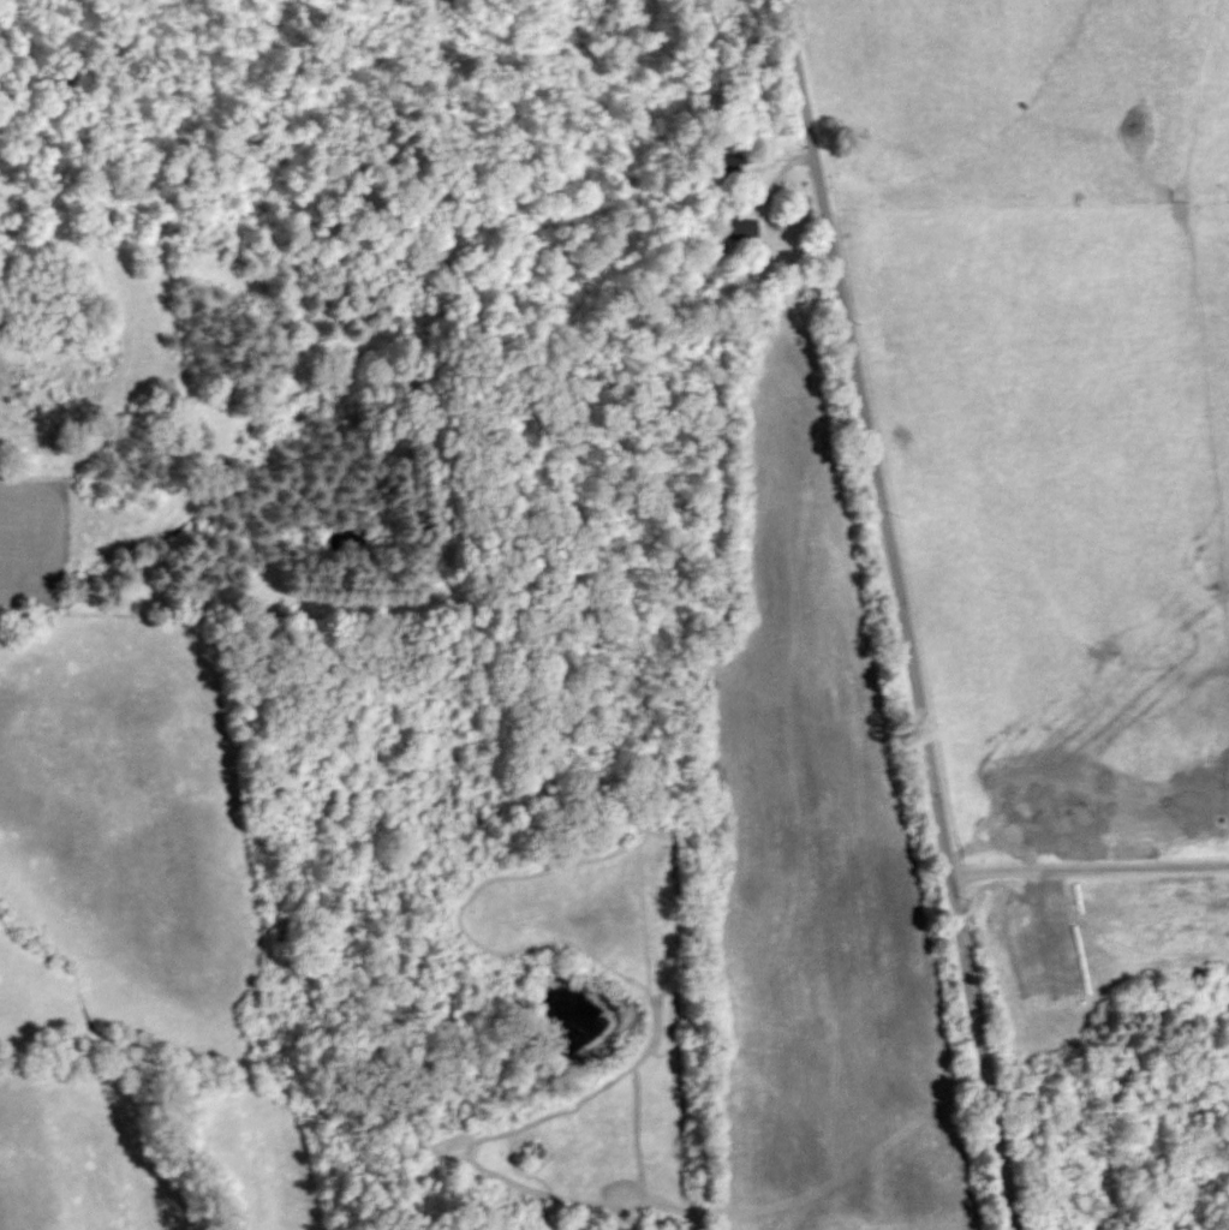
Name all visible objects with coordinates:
building: (741, 228)
road: (906, 614)
road: (1090, 865)

